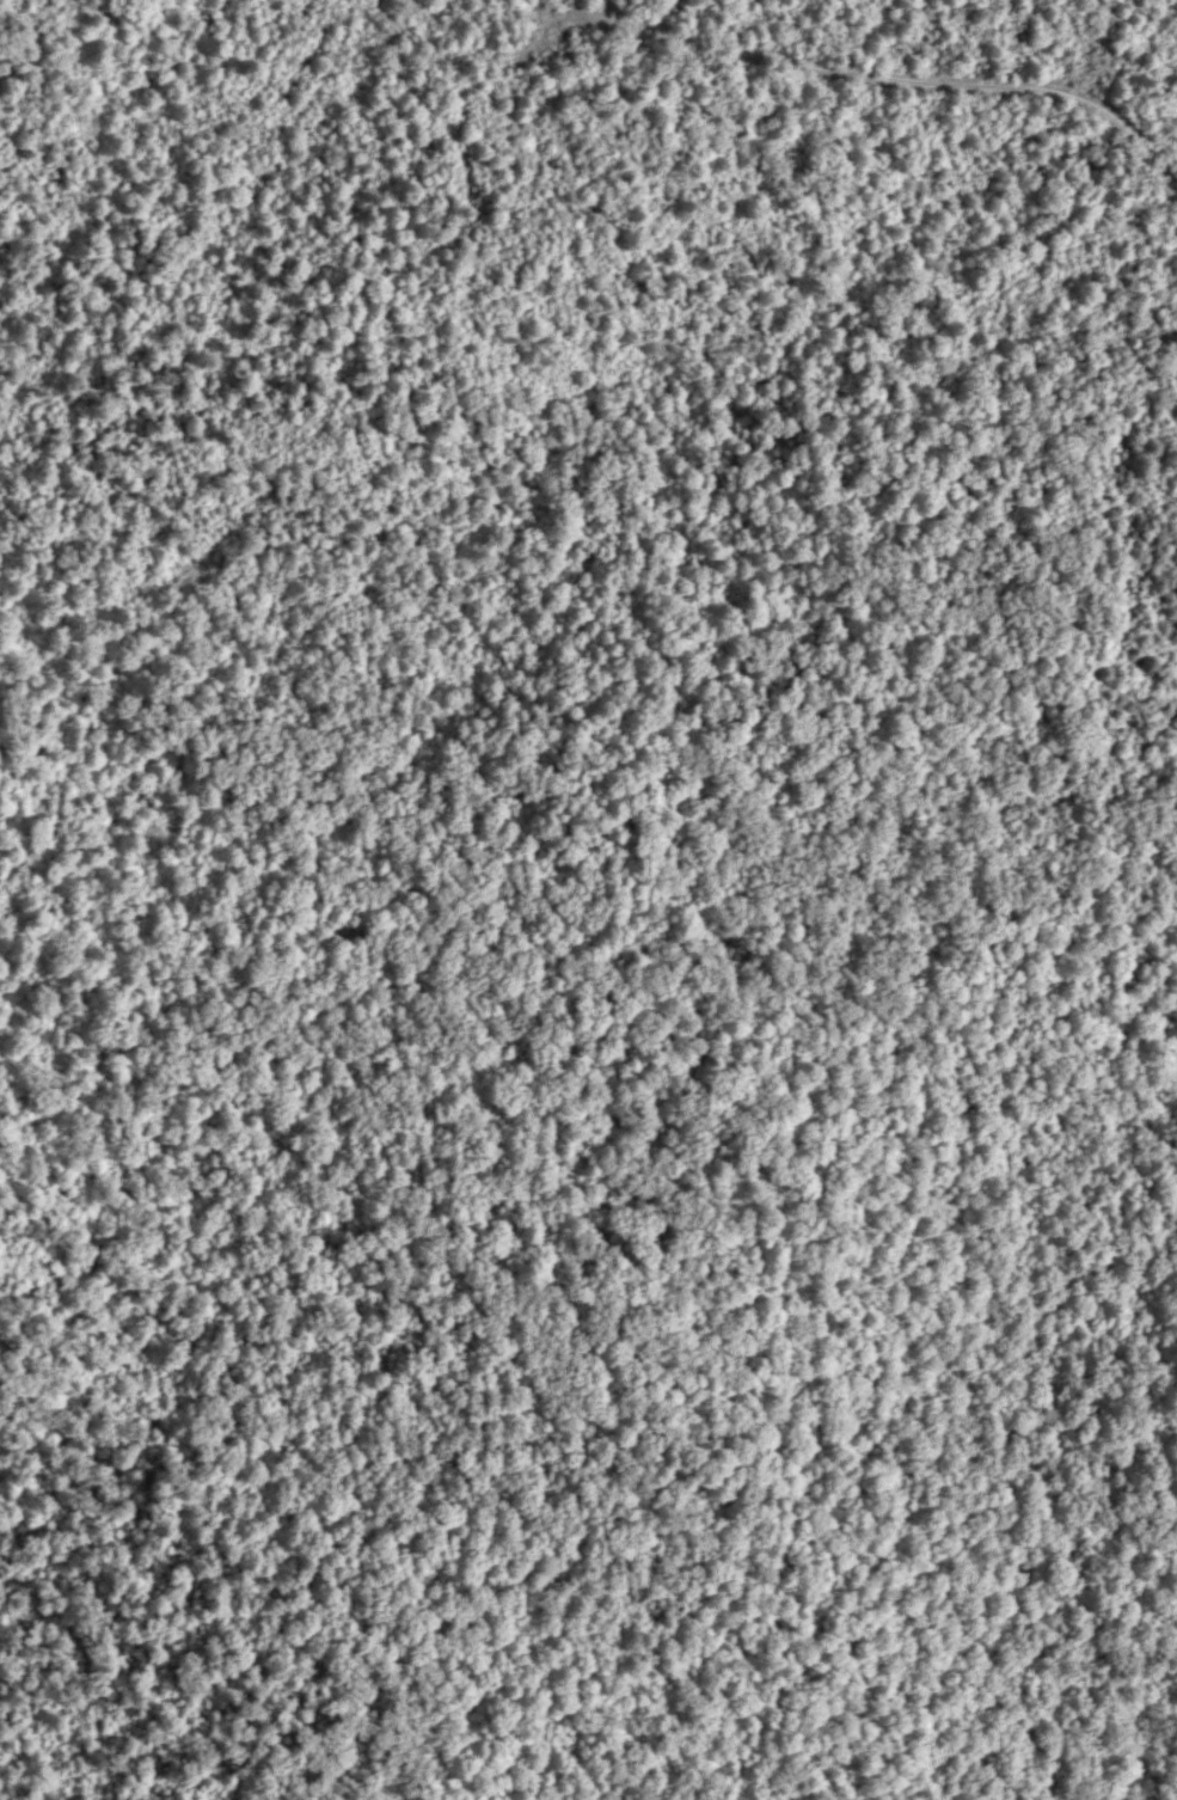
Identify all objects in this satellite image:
road: (533, 14)
road: (495, 73)
road: (1173, 582)
road: (1152, 736)

